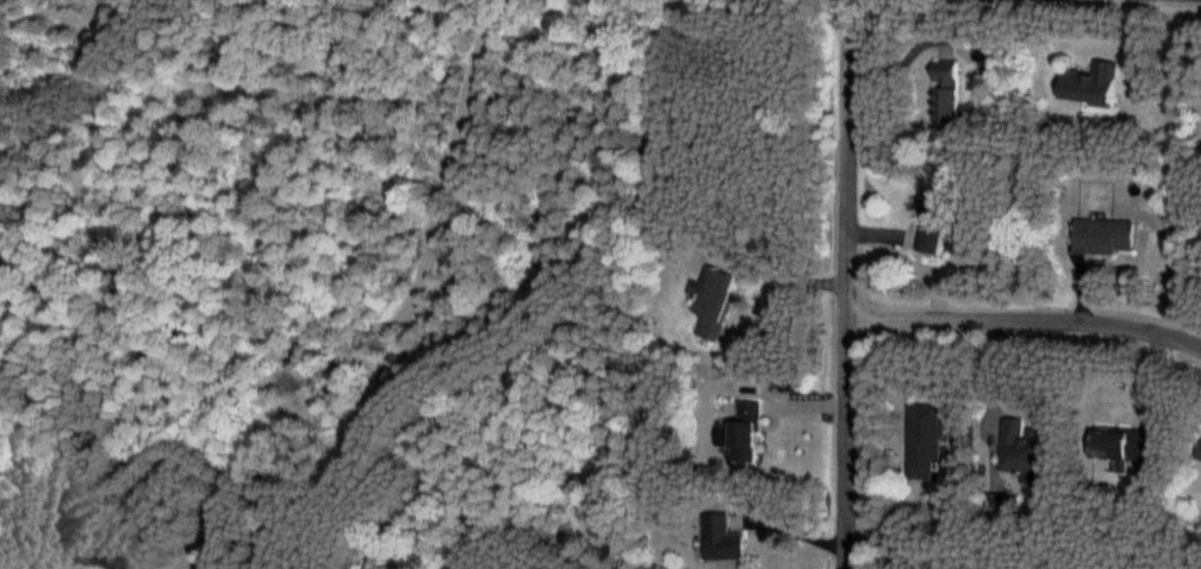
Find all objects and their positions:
building: (1089, 86)
building: (945, 92)
building: (1103, 236)
road: (840, 283)
building: (711, 301)
road: (1022, 320)
building: (740, 432)
building: (922, 440)
building: (1021, 446)
building: (1121, 446)
building: (1197, 457)
building: (721, 539)

